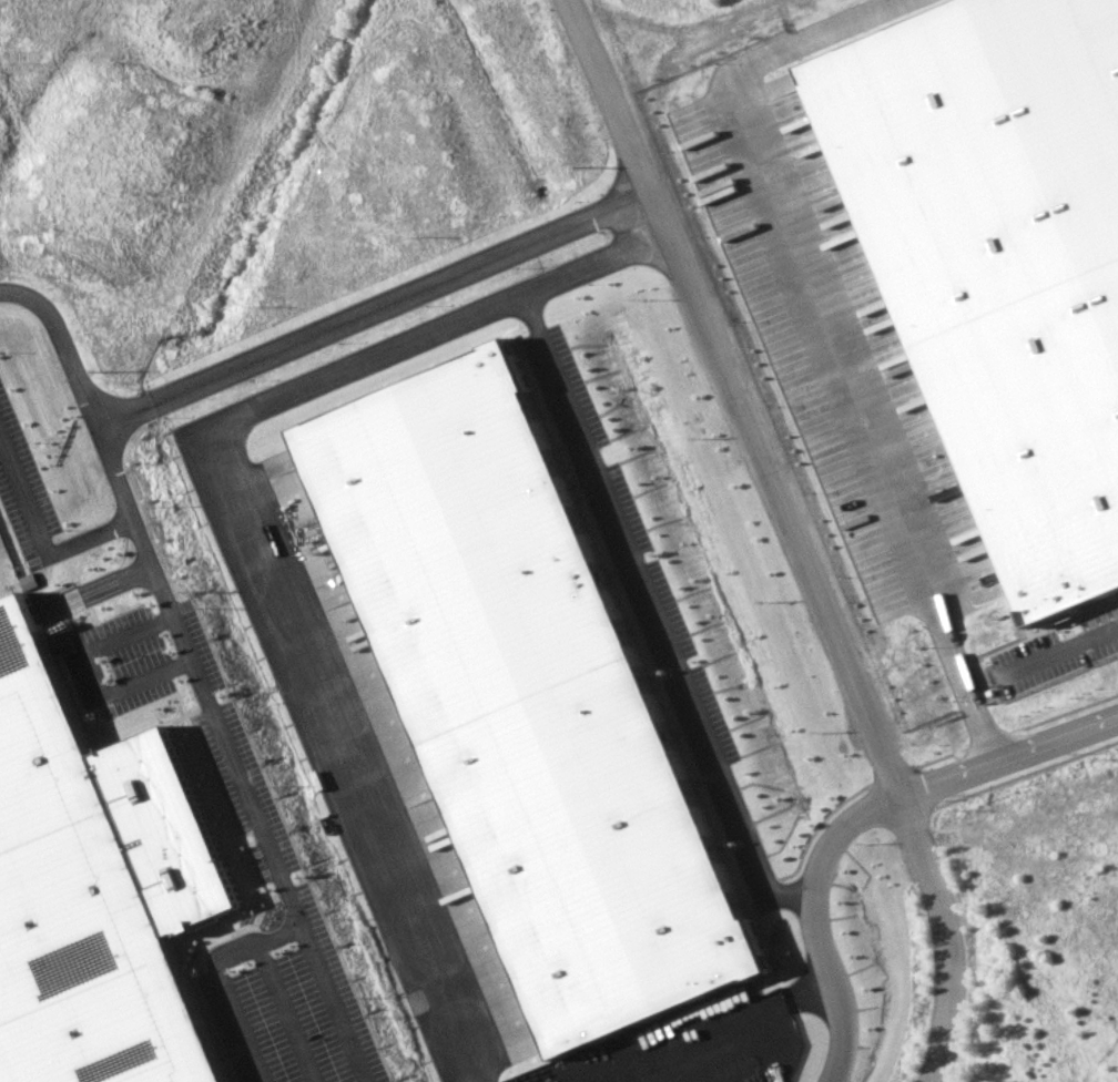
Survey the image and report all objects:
building: (993, 262)
road: (825, 340)
road: (292, 343)
road: (242, 524)
road: (791, 534)
road: (42, 541)
road: (653, 611)
road: (1059, 655)
road: (90, 675)
building: (529, 704)
road: (1008, 756)
road: (232, 766)
parking lot: (238, 773)
building: (95, 888)
road: (813, 920)
road: (722, 1030)

